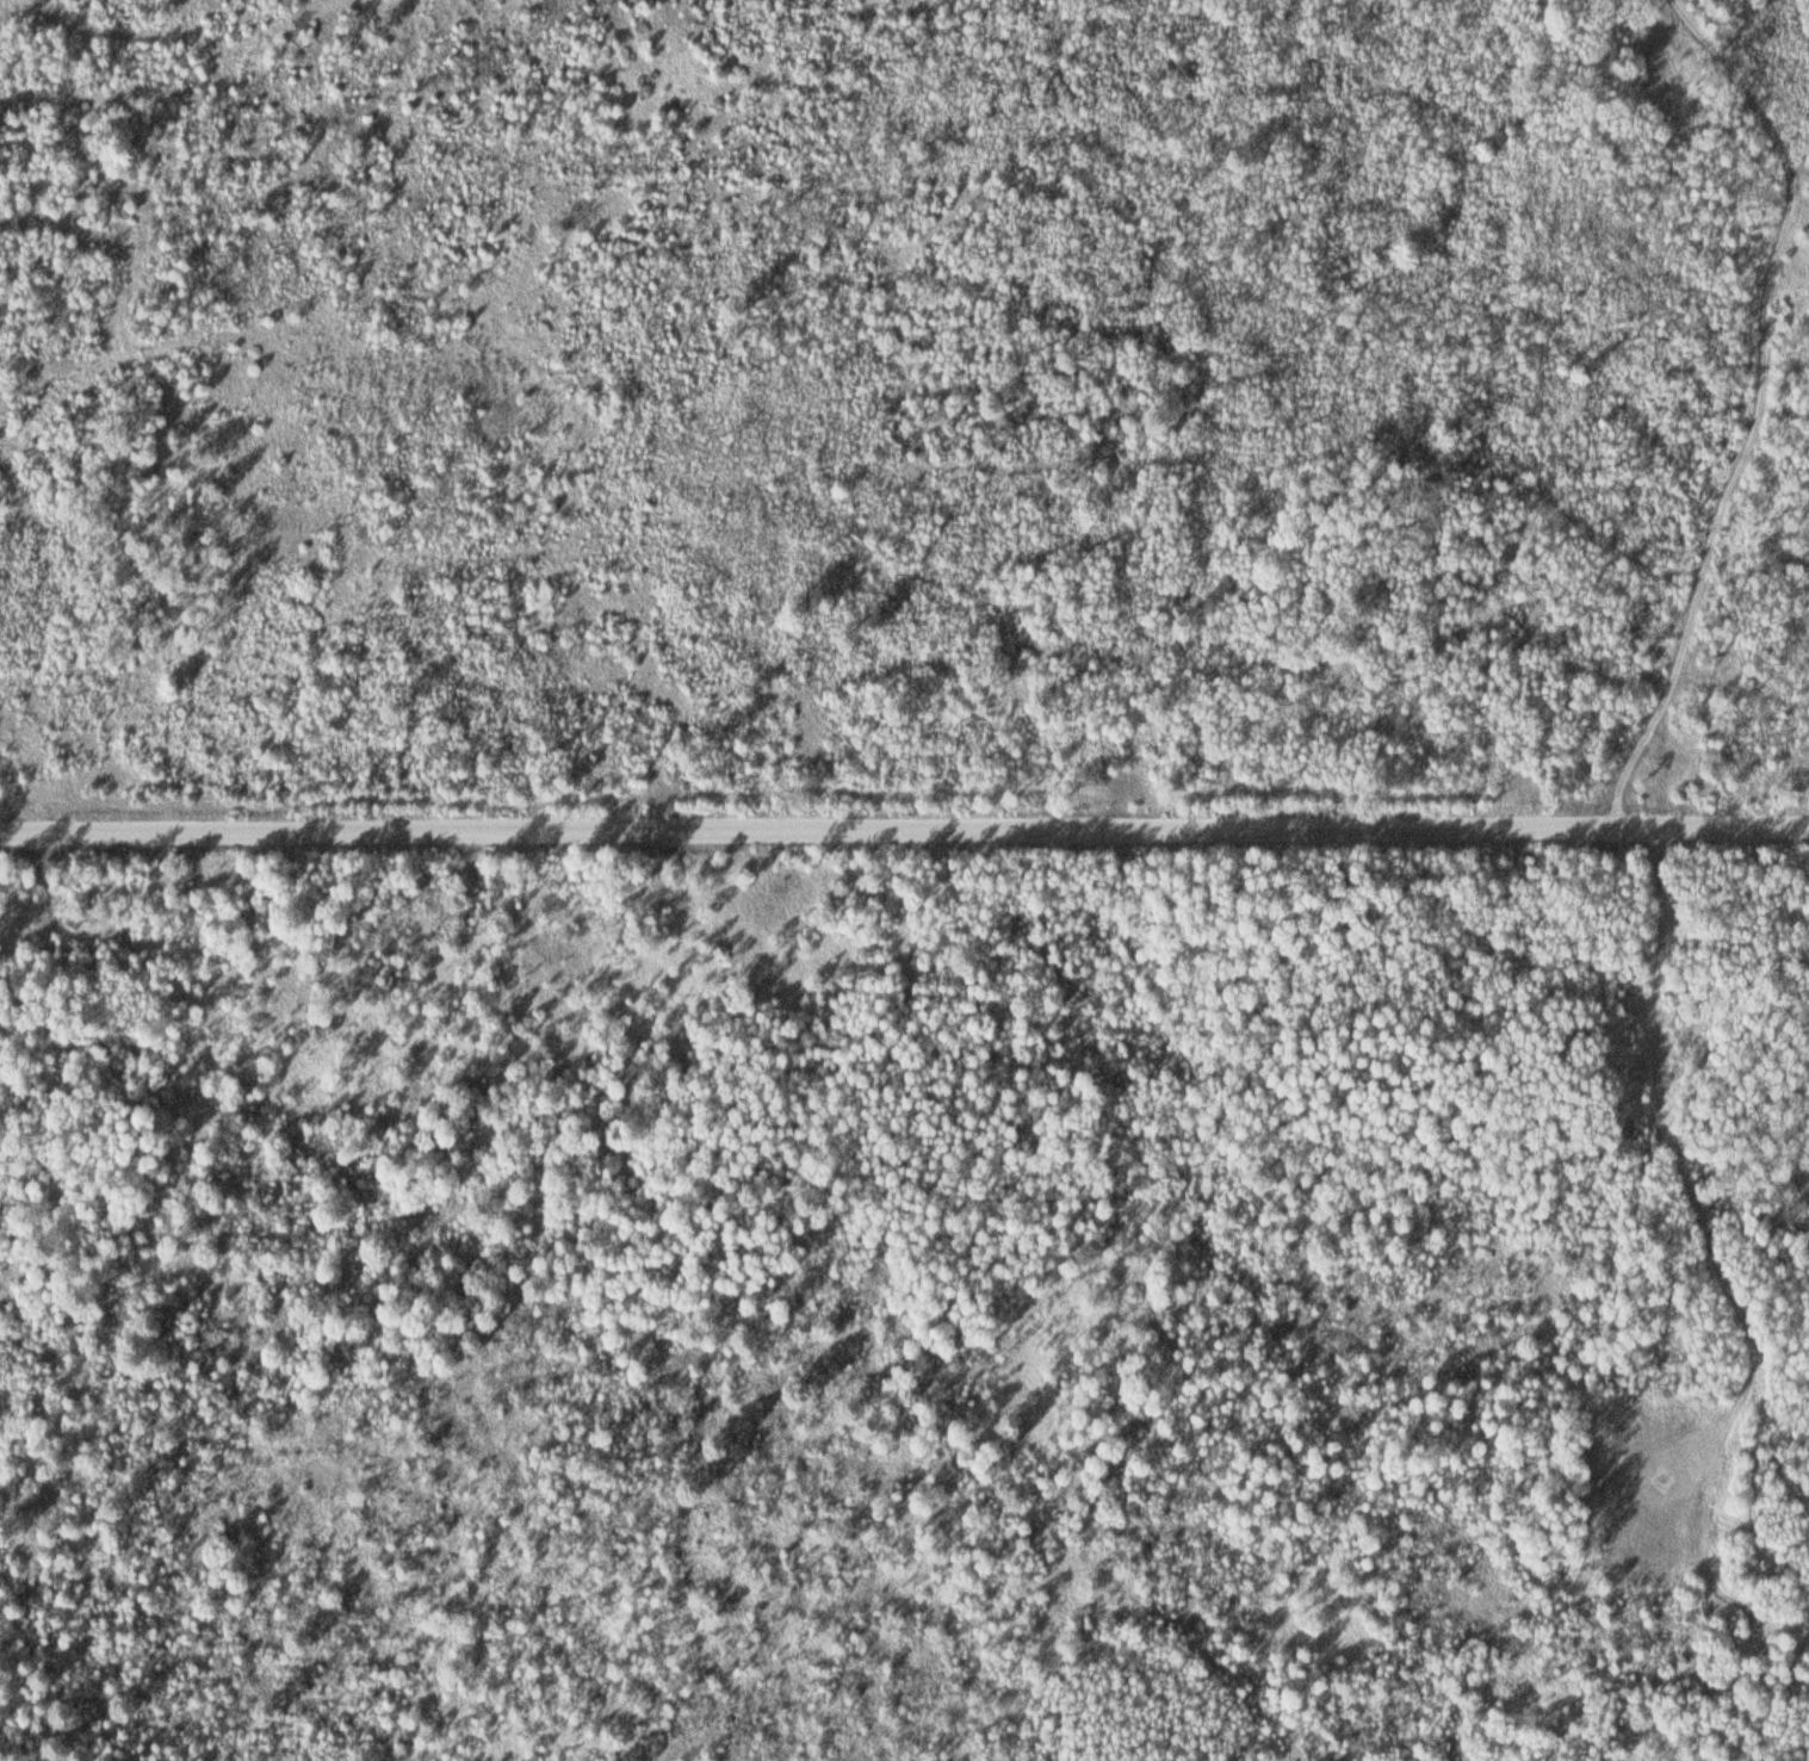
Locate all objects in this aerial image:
road: (1736, 403)
road: (904, 826)
road: (1735, 1306)

